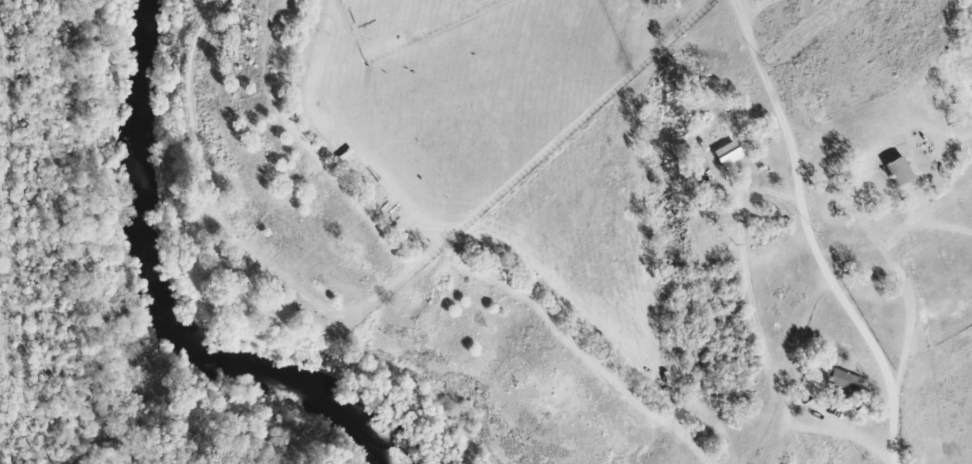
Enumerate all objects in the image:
road: (779, 101)
building: (726, 153)
building: (897, 170)
road: (792, 204)
river: (162, 300)
building: (842, 385)
road: (793, 442)

